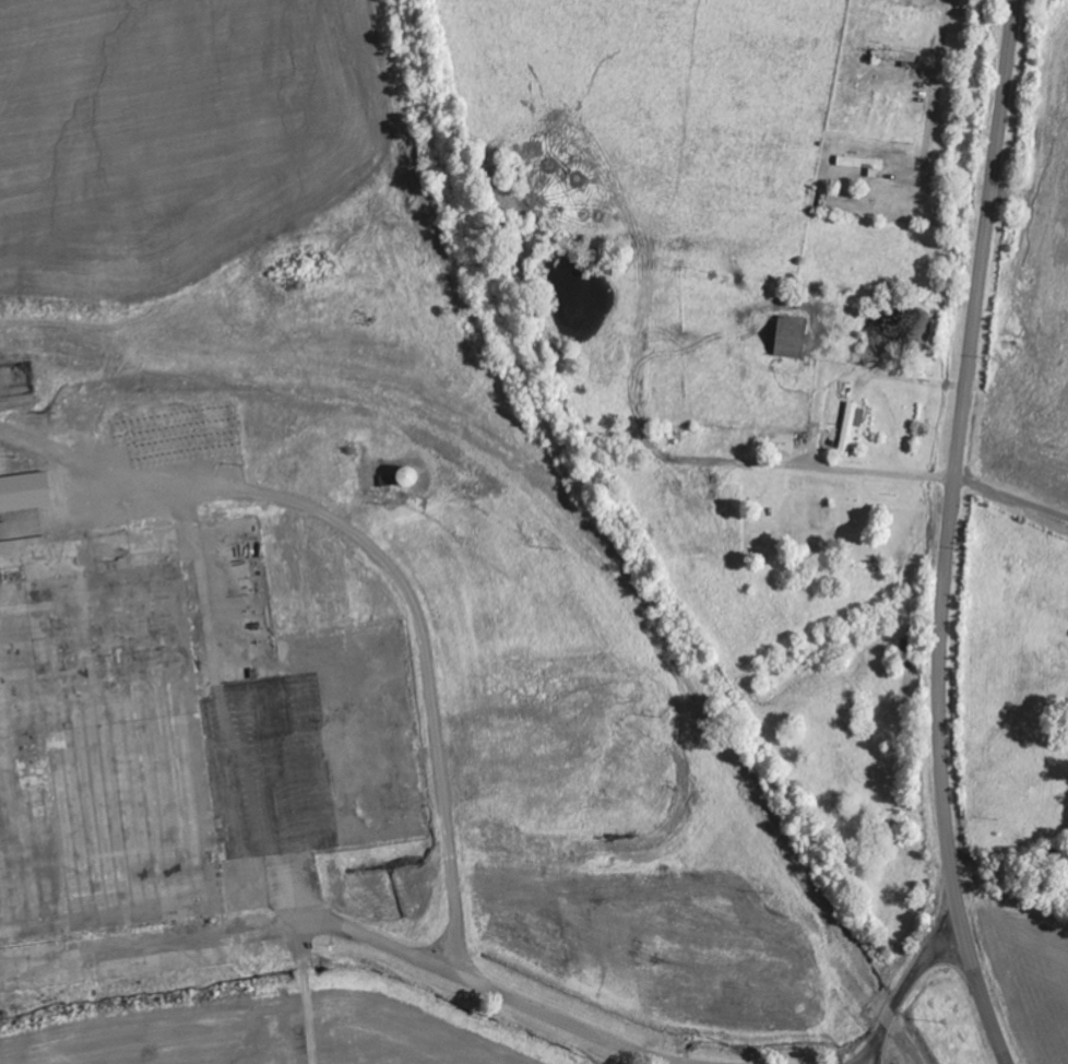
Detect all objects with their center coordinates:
road: (933, 80)
building: (791, 345)
building: (851, 426)
building: (25, 493)
road: (1011, 499)
road: (950, 534)
road: (449, 970)
road: (912, 980)

